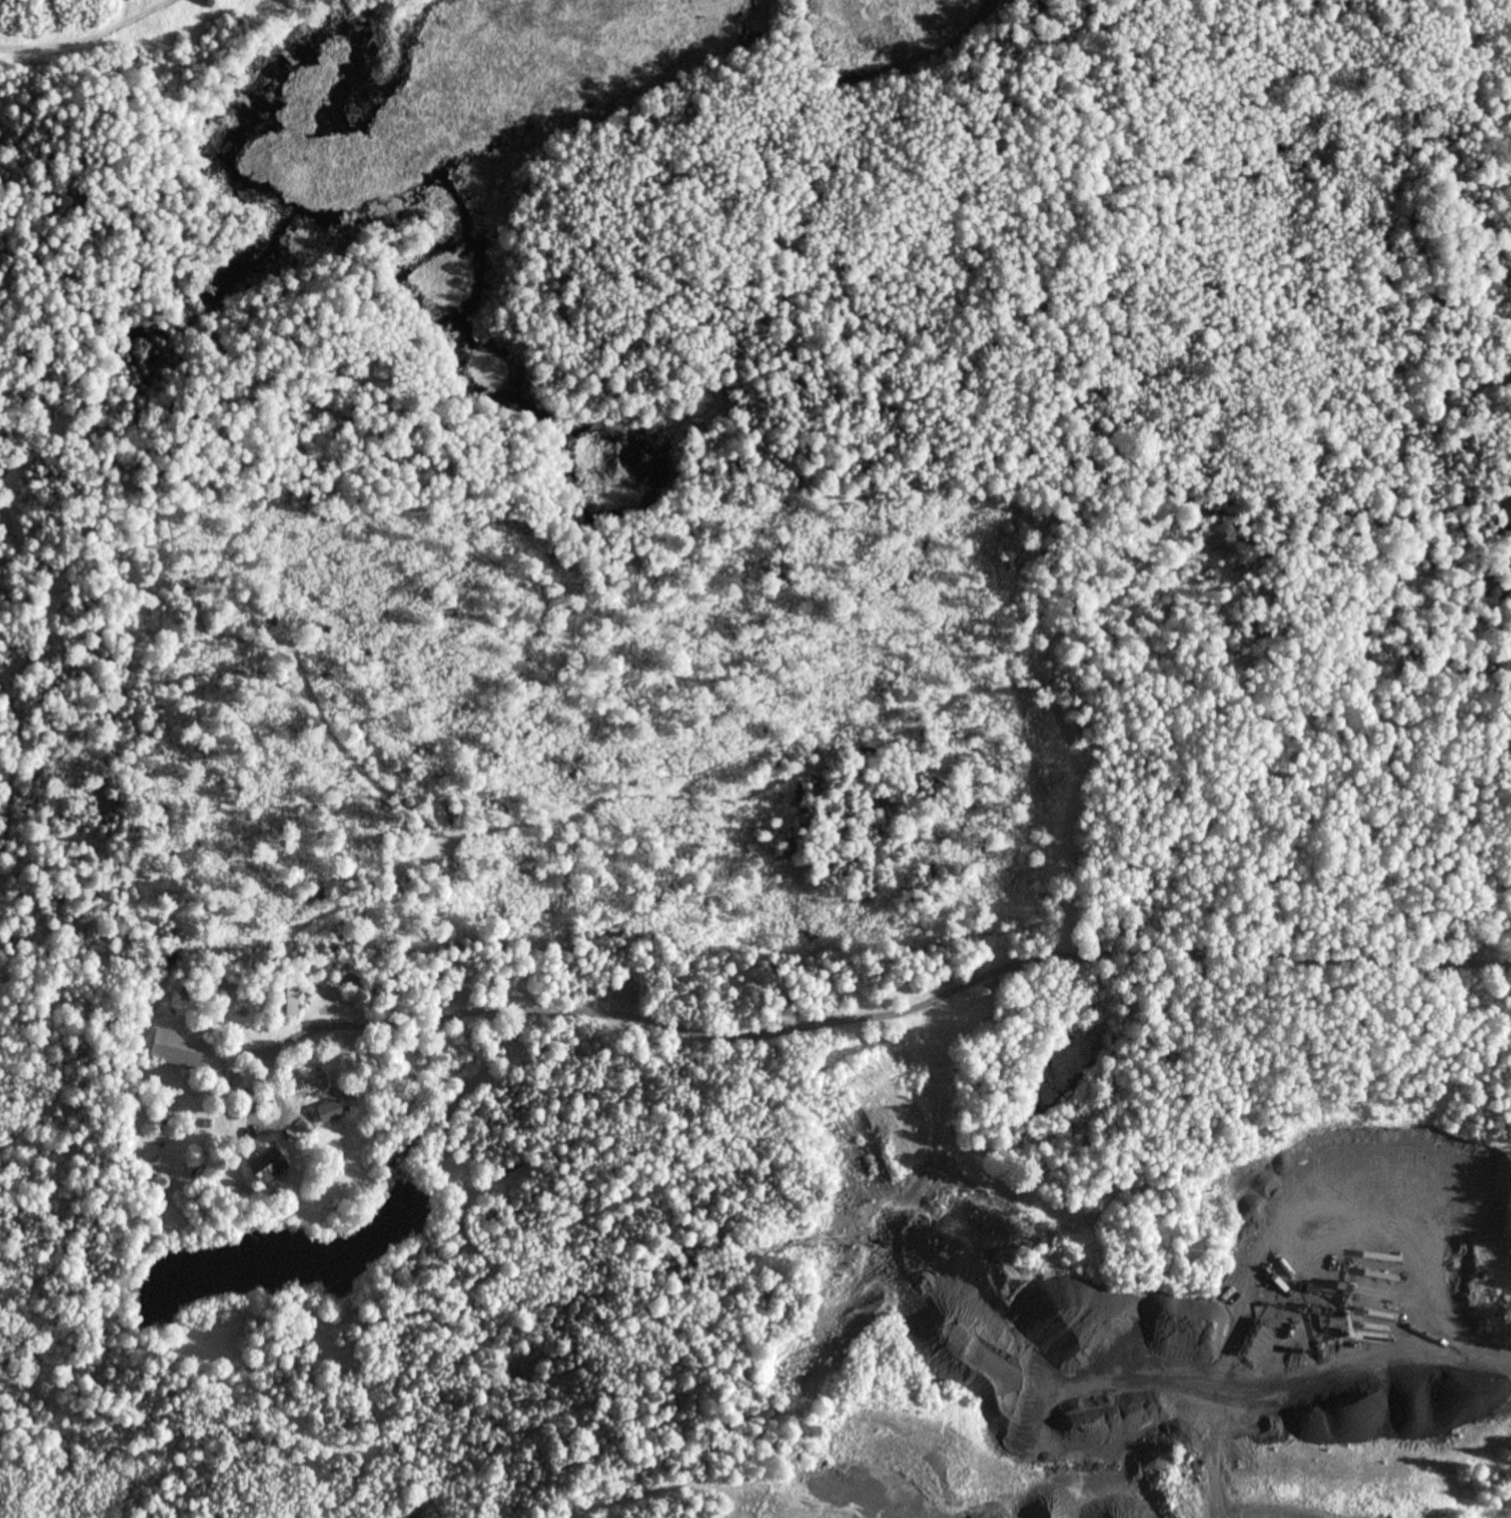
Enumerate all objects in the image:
building: (283, 999)
building: (178, 1049)
building: (326, 1112)
building: (261, 1167)
quarry: (1141, 1322)

